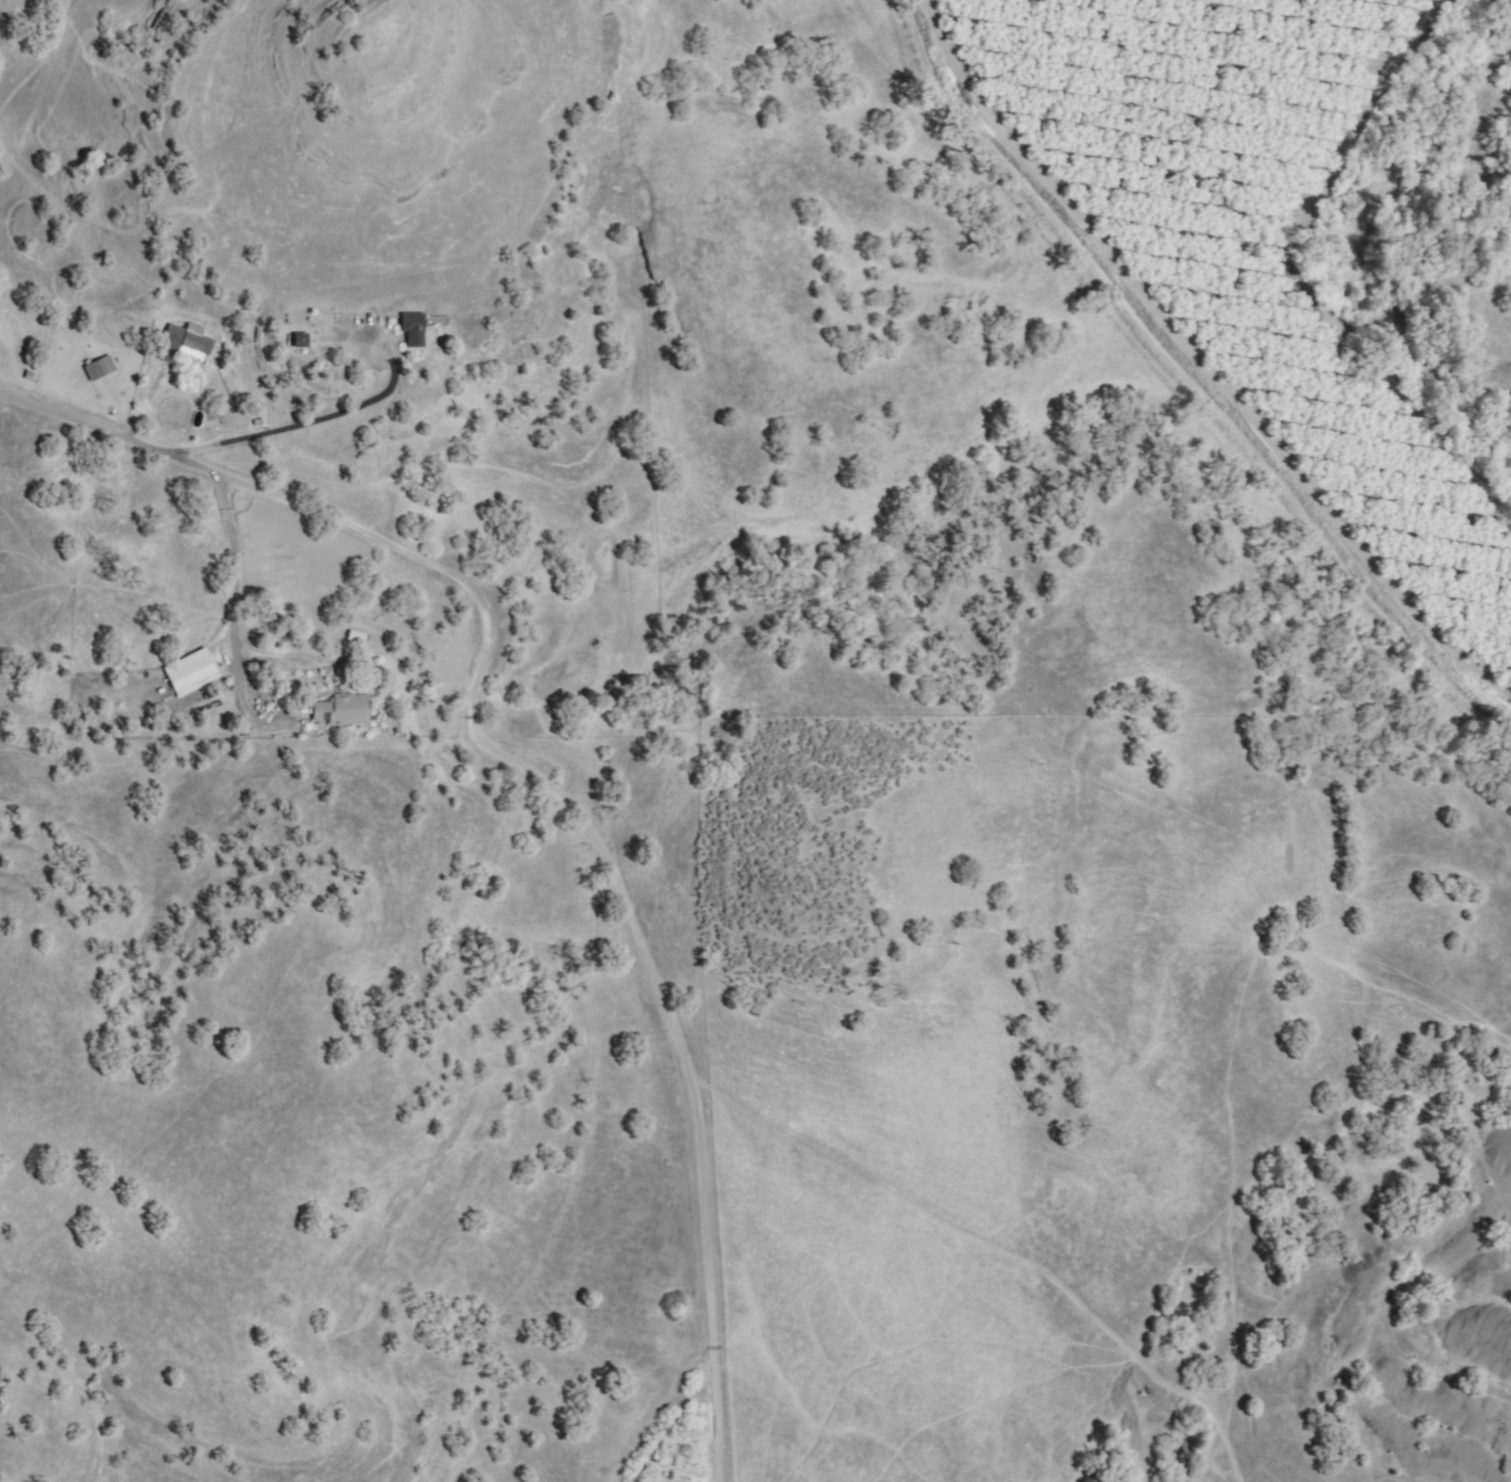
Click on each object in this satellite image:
building: (414, 328)
building: (298, 340)
building: (172, 343)
building: (198, 343)
building: (101, 369)
building: (255, 420)
road: (318, 423)
road: (236, 614)
building: (192, 673)
building: (637, 681)
building: (344, 709)
road: (546, 776)
crop: (677, 1446)

